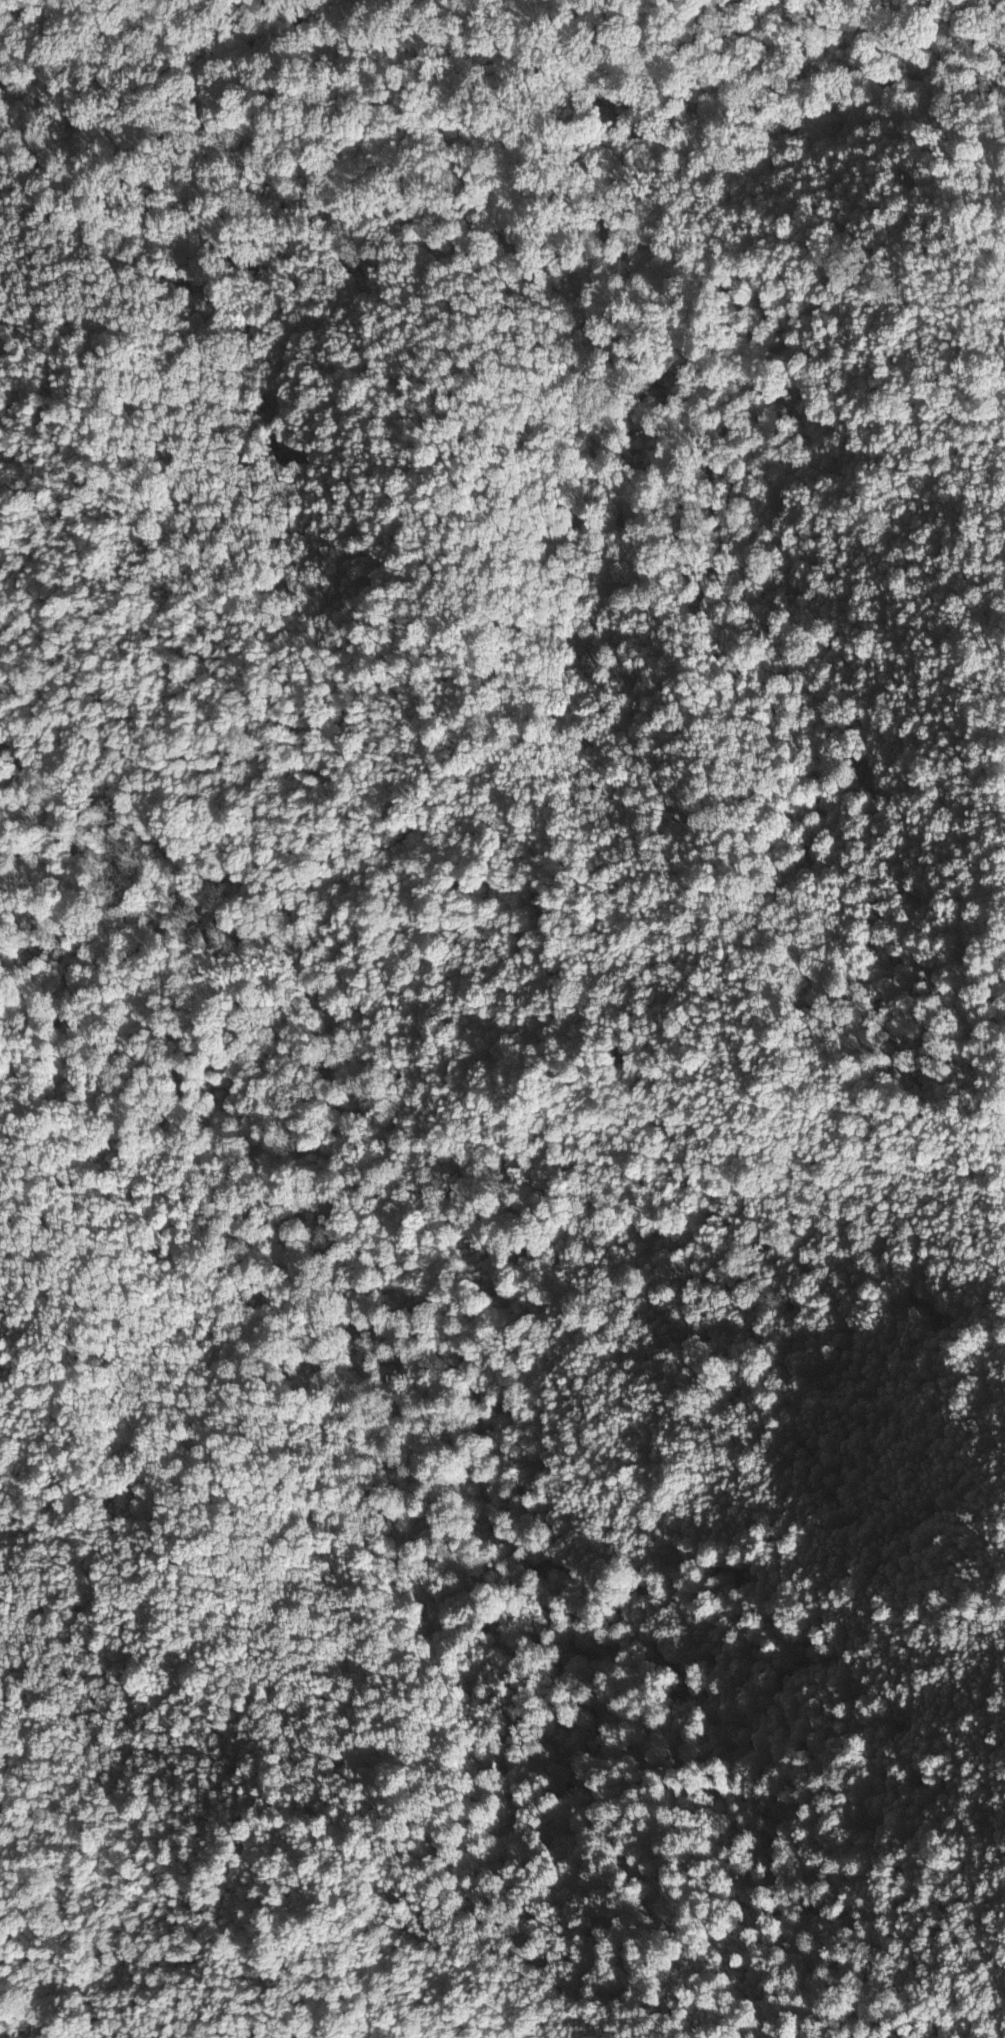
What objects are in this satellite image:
road: (831, 53)

